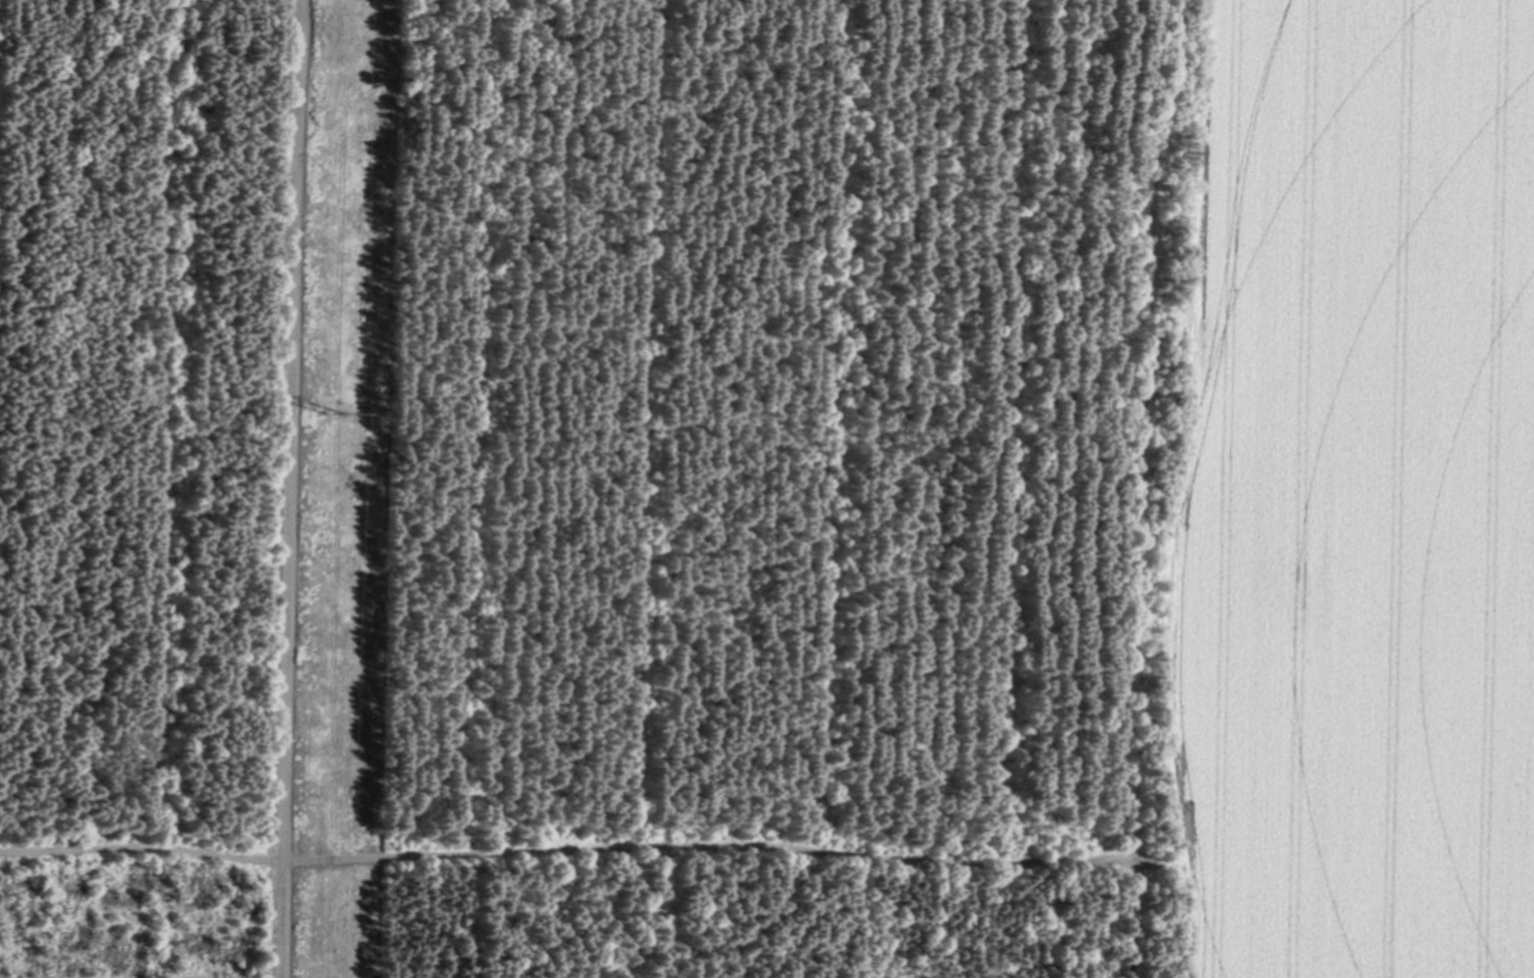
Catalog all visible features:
power tower: (334, 412)
road: (294, 488)
crop: (1355, 492)
road: (565, 848)

